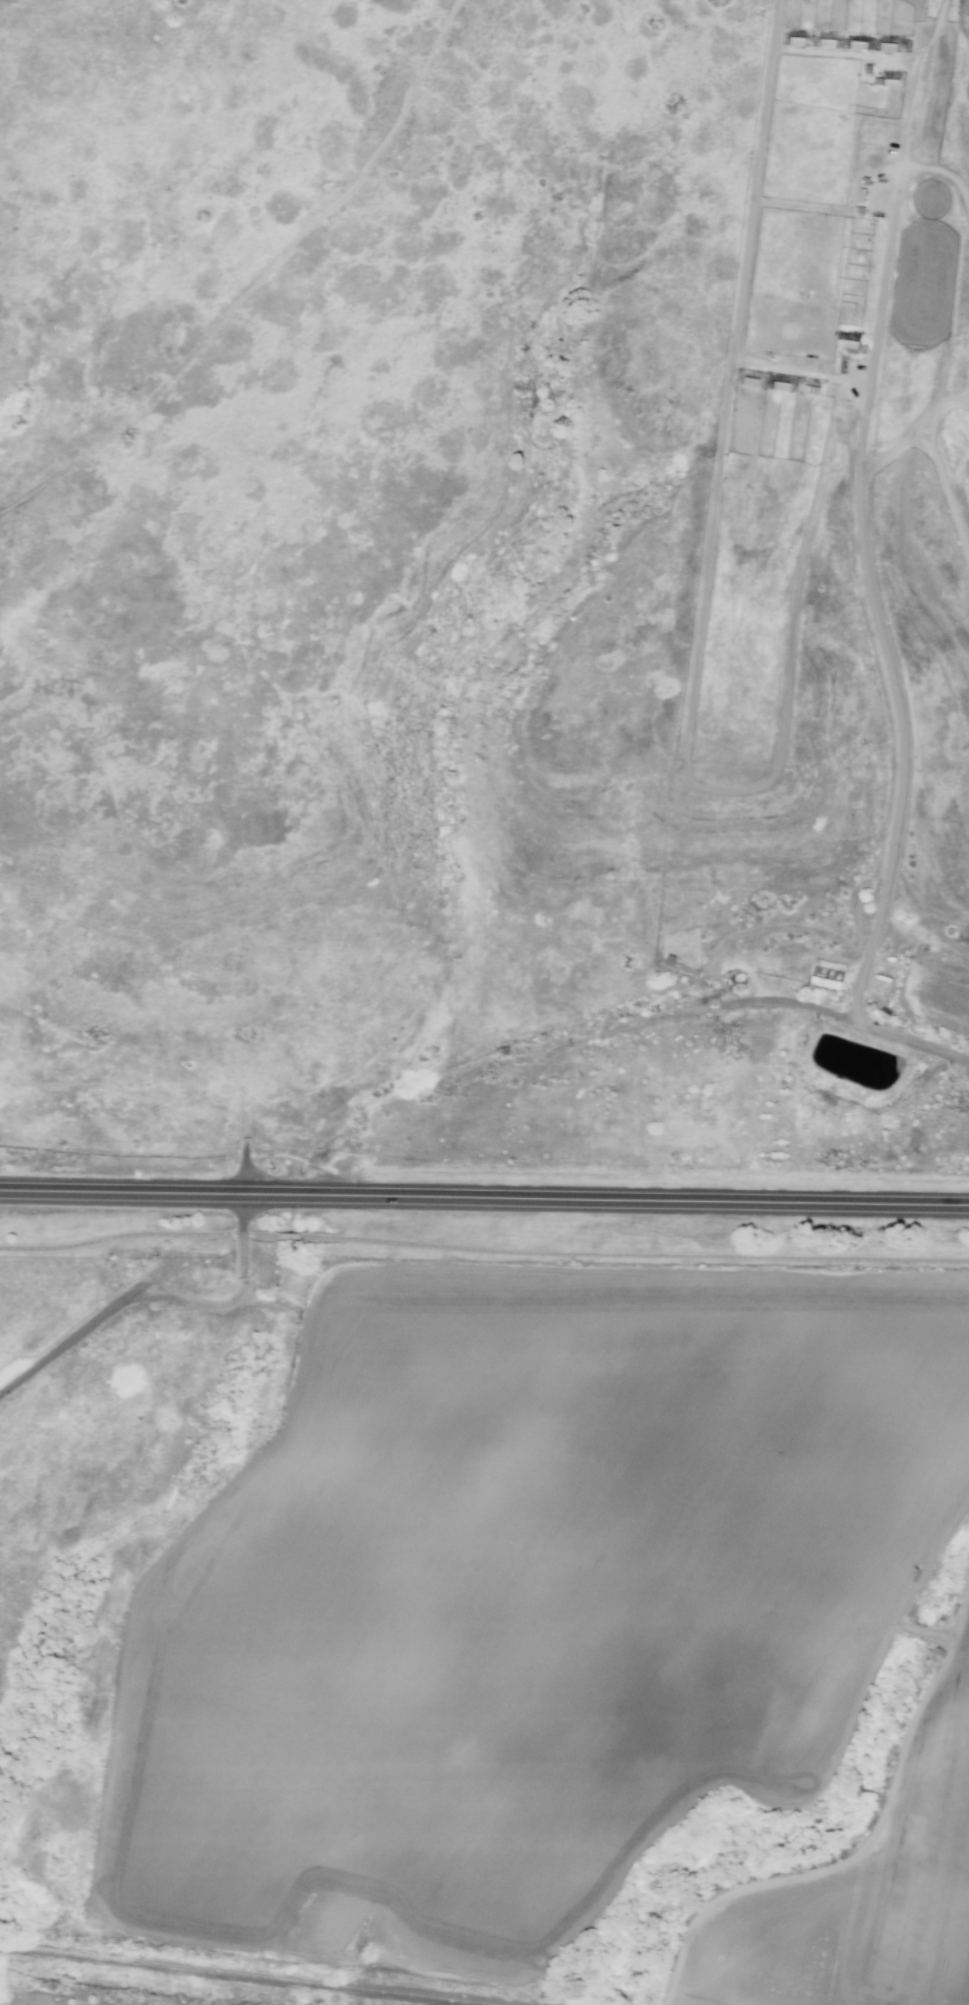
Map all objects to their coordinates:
road: (933, 32)
building: (799, 40)
building: (829, 43)
building: (860, 44)
building: (890, 48)
building: (894, 83)
road: (946, 172)
building: (866, 191)
road: (257, 280)
building: (851, 347)
road: (943, 372)
building: (753, 381)
building: (782, 385)
building: (813, 389)
road: (965, 400)
road: (917, 431)
road: (858, 473)
crop: (841, 494)
road: (946, 494)
road: (706, 598)
building: (670, 959)
road: (848, 1018)
road: (135, 1100)
road: (245, 1169)
road: (122, 1193)
road: (607, 1201)
road: (244, 1215)
road: (121, 1235)
road: (261, 1235)
road: (288, 1236)
road: (633, 1255)
road: (243, 1256)
road: (267, 1303)
road: (120, 1306)
road: (612, 1575)
crop: (524, 1601)
building: (945, 1628)
building: (941, 1657)
road: (107, 1814)
road: (865, 1846)
crop: (865, 1896)
railway: (248, 1974)
road: (671, 2004)

